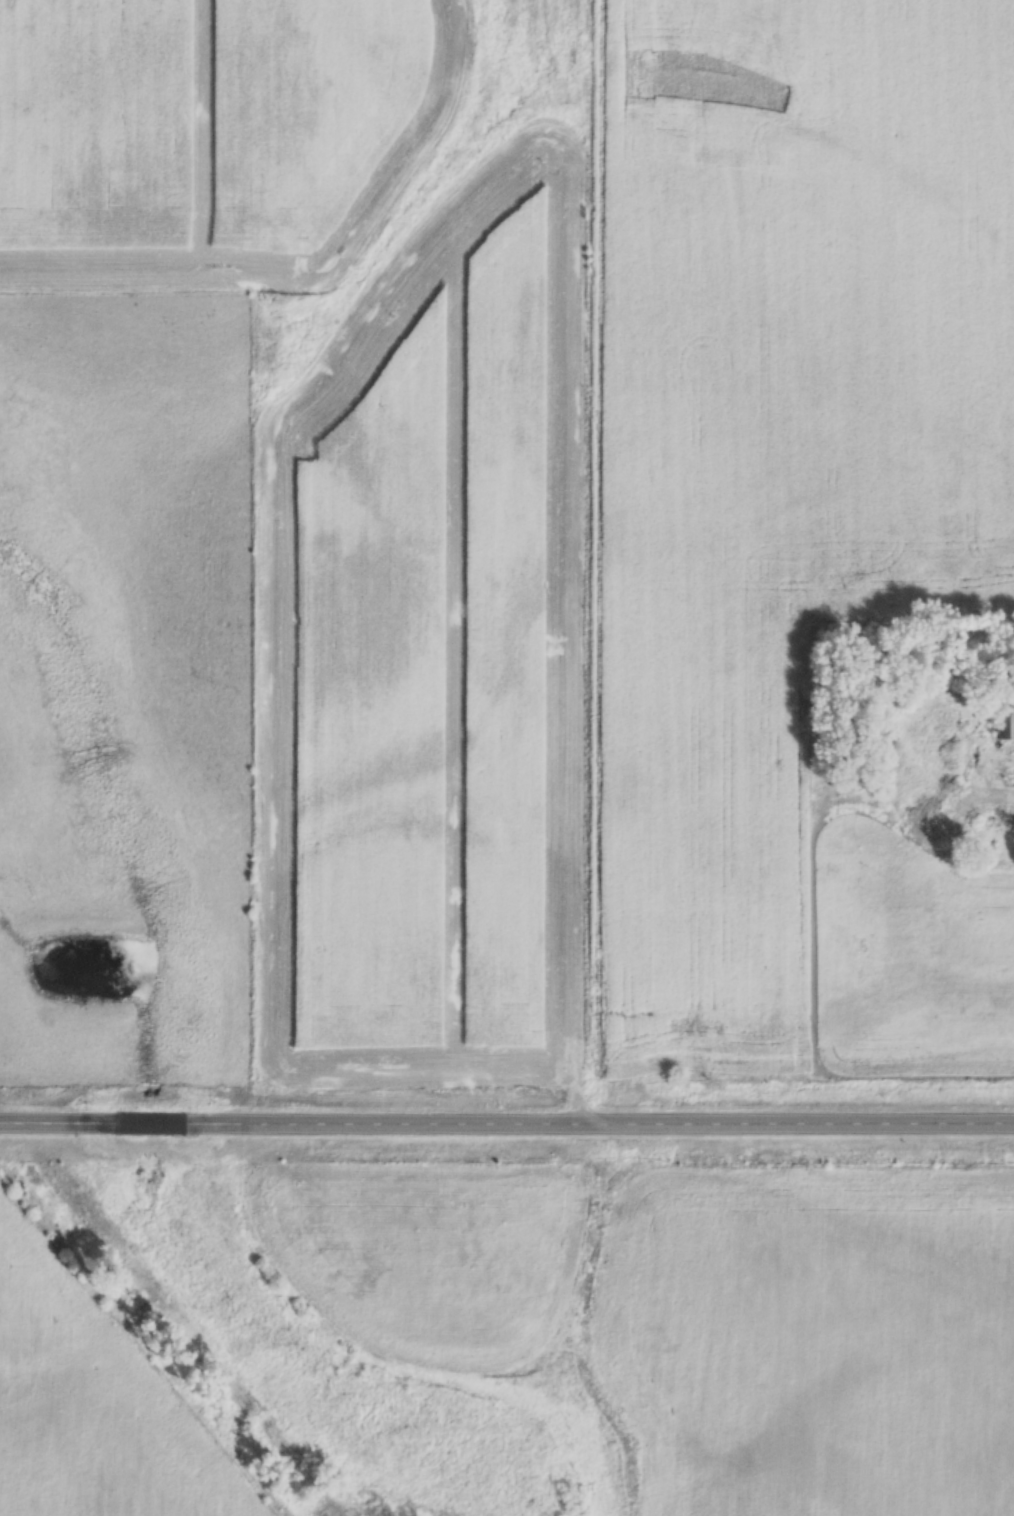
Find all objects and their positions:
road: (507, 1117)

